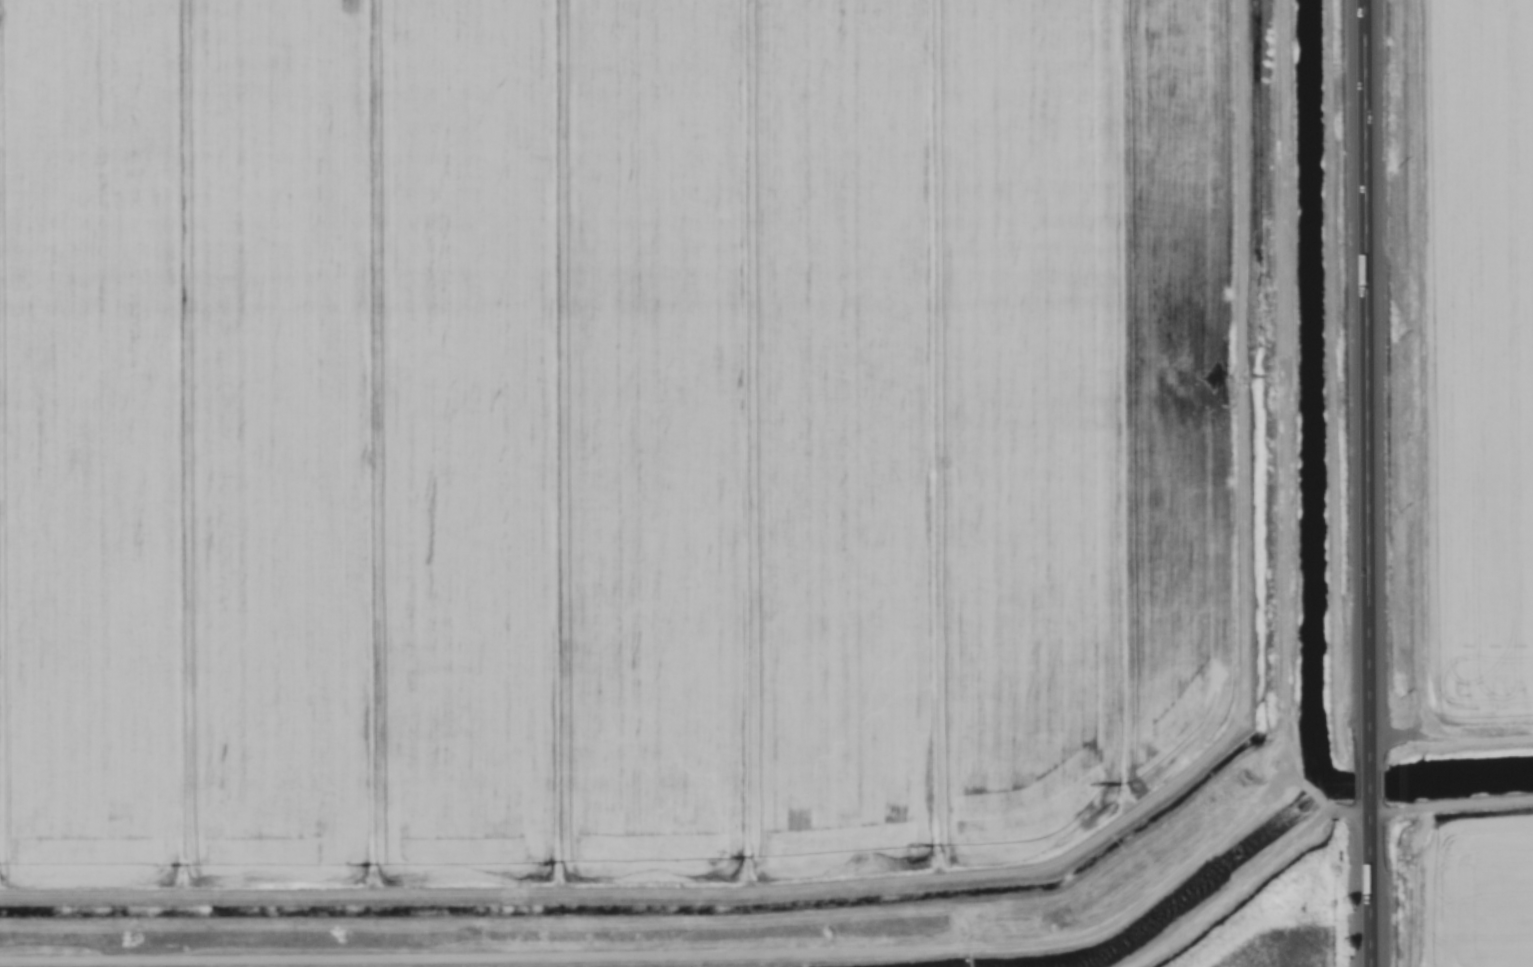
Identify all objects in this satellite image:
road: (1364, 362)
road: (1367, 765)
road: (1369, 886)

